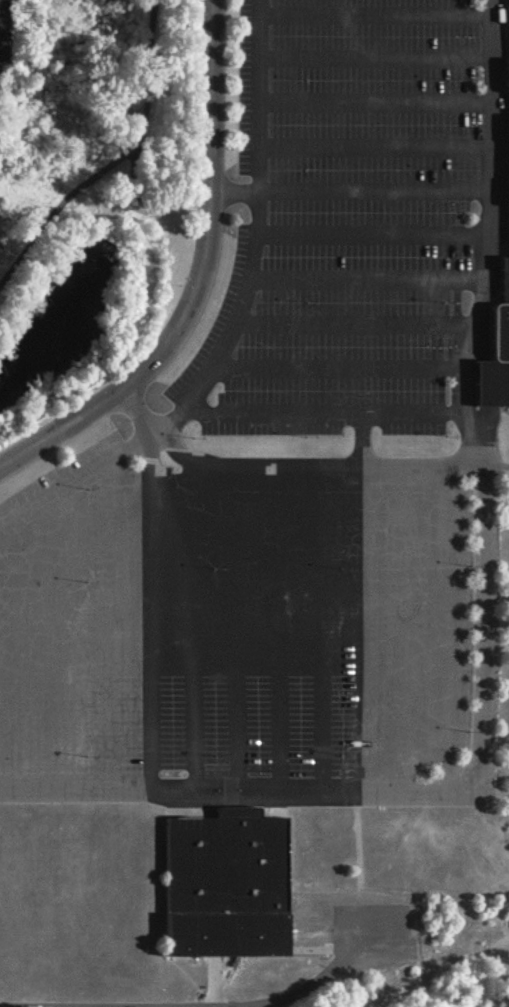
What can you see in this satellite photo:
building: (508, 1)
road: (377, 19)
road: (377, 63)
road: (377, 106)
road: (377, 149)
road: (113, 160)
road: (351, 194)
road: (257, 234)
road: (375, 238)
road: (492, 240)
road: (199, 281)
road: (369, 283)
road: (358, 329)
building: (493, 359)
road: (339, 370)
road: (325, 417)
road: (365, 442)
road: (300, 469)
road: (77, 484)
road: (149, 615)
road: (193, 629)
road: (110, 630)
road: (236, 632)
road: (319, 632)
road: (370, 632)
road: (276, 633)
road: (414, 633)
road: (451, 633)
road: (57, 645)
road: (19, 655)
road: (398, 796)
building: (228, 887)
road: (189, 1006)

